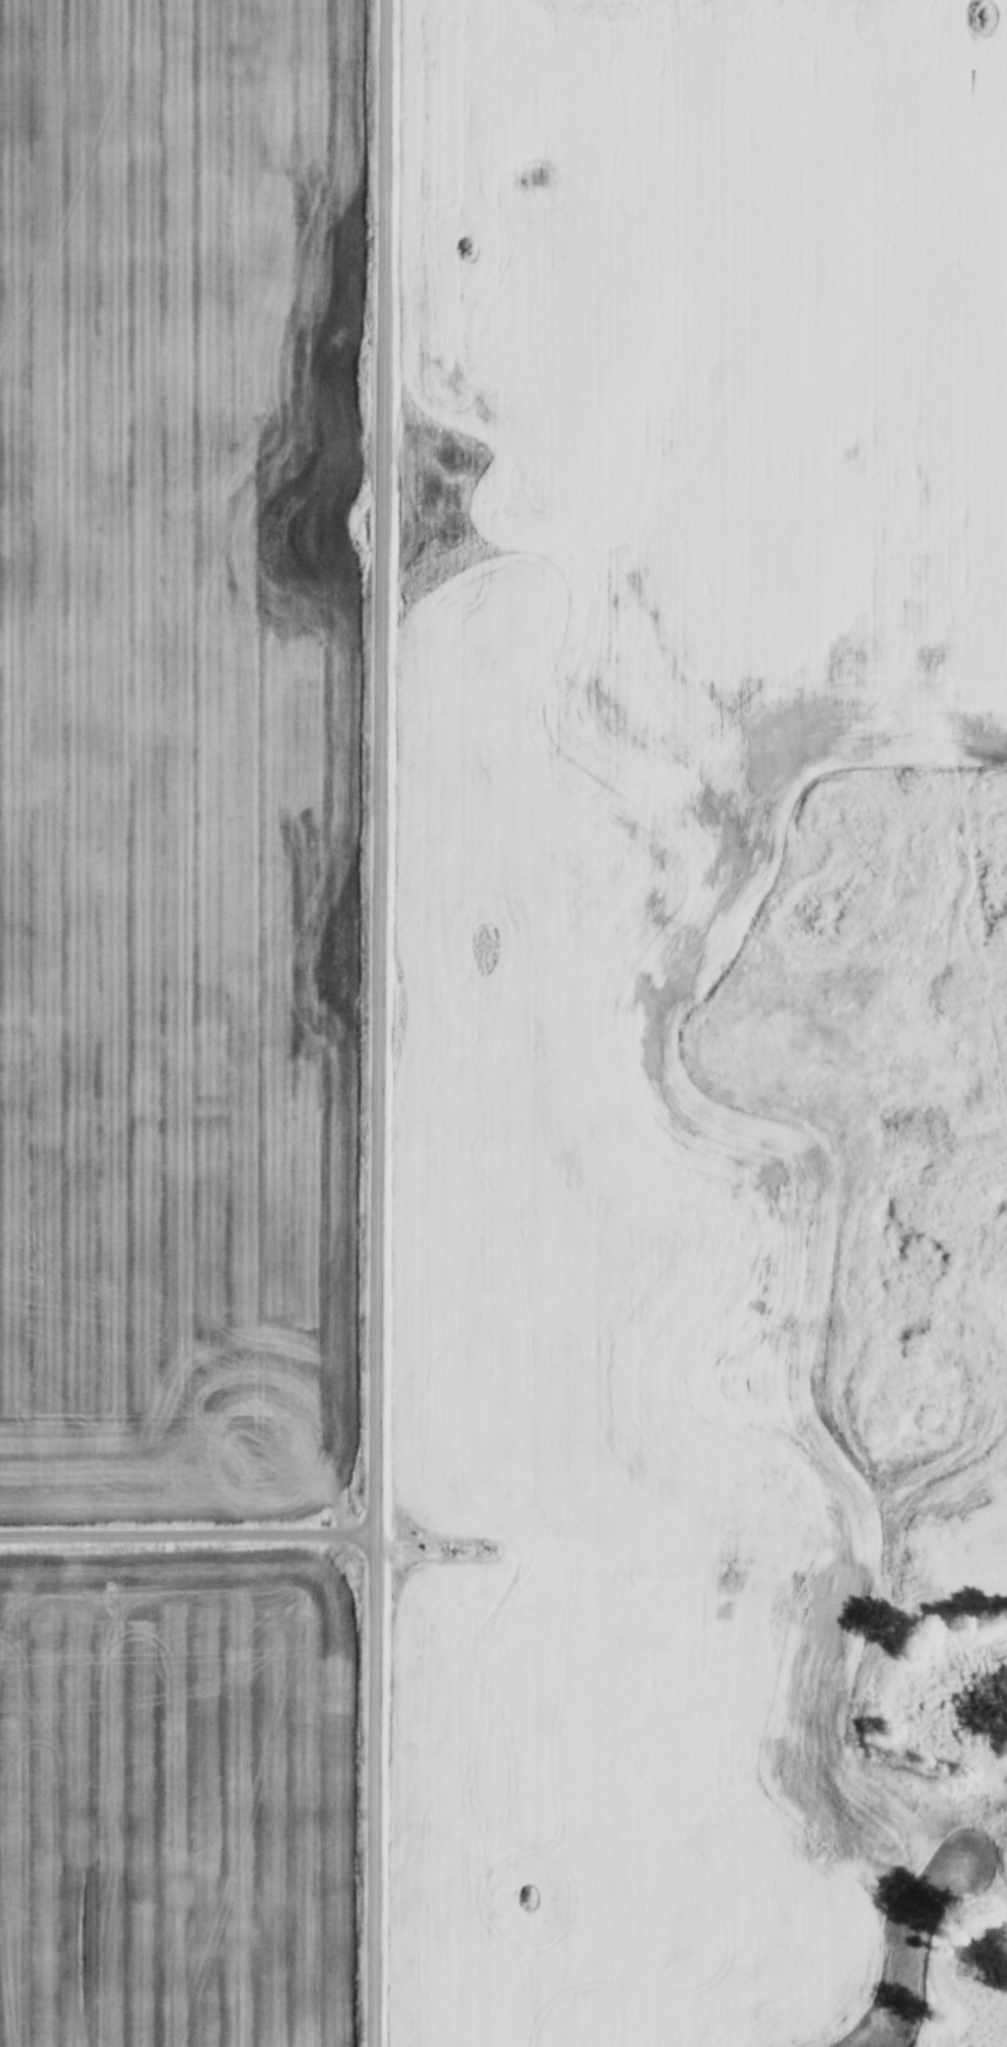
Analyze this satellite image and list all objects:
road: (378, 1023)
road: (187, 1533)

